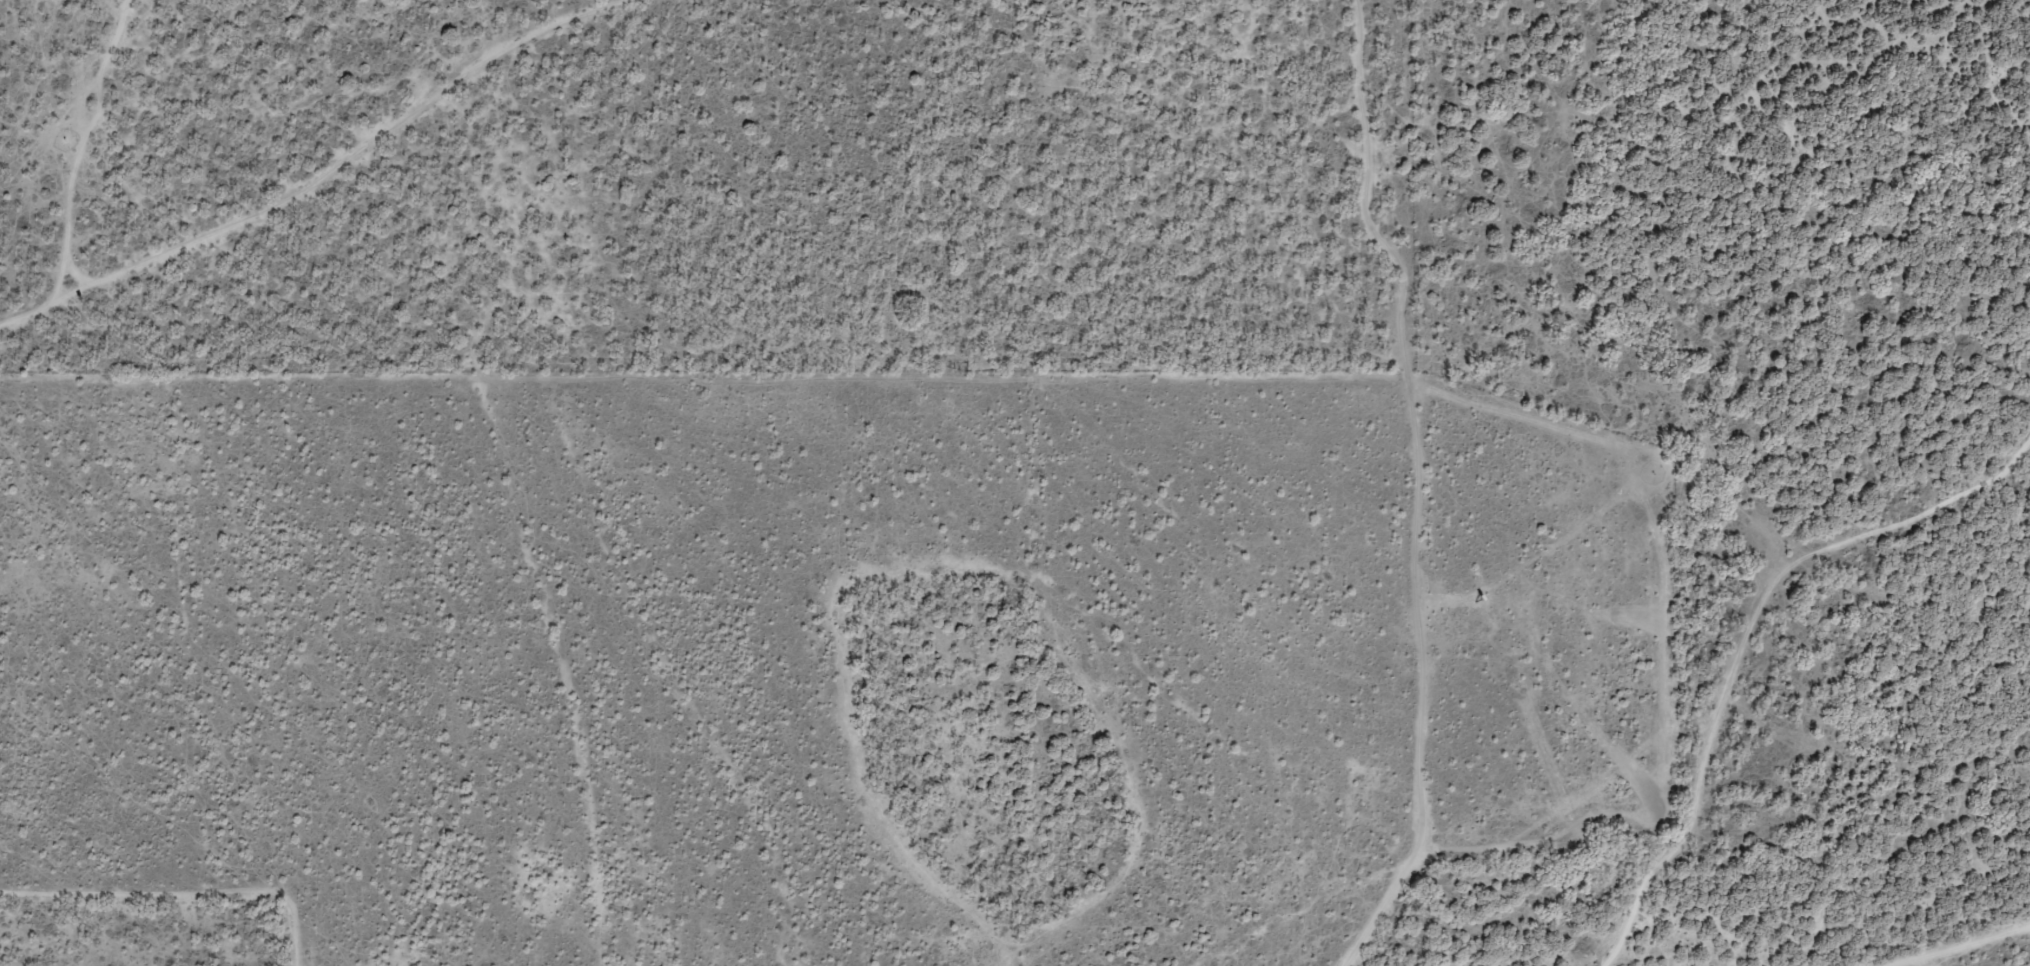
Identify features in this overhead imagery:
road: (377, 173)

